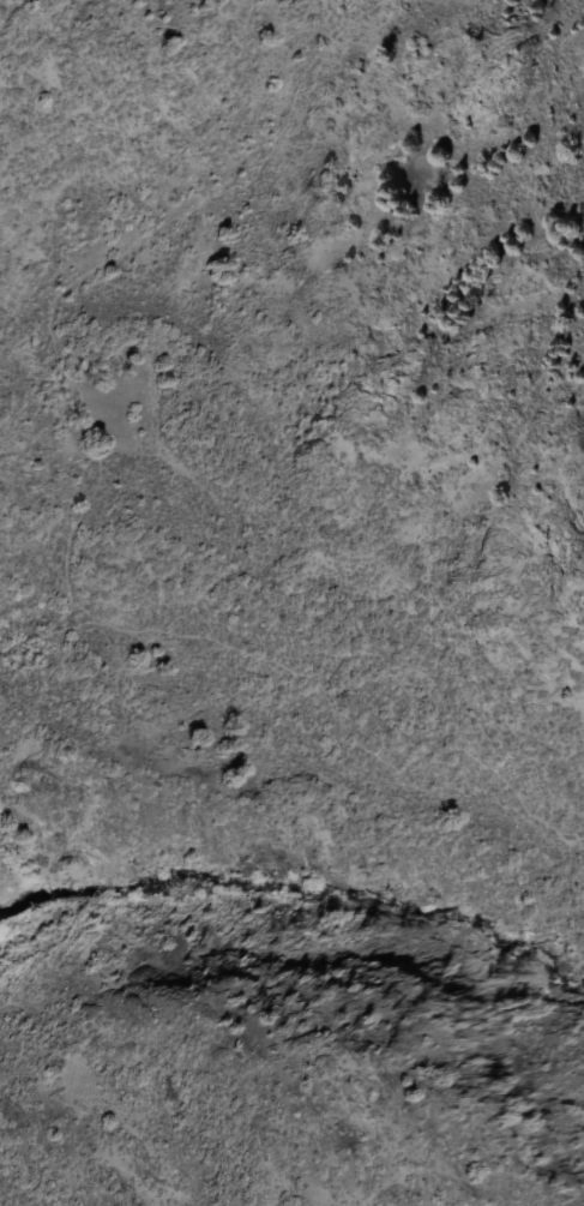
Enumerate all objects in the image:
road: (317, 690)

